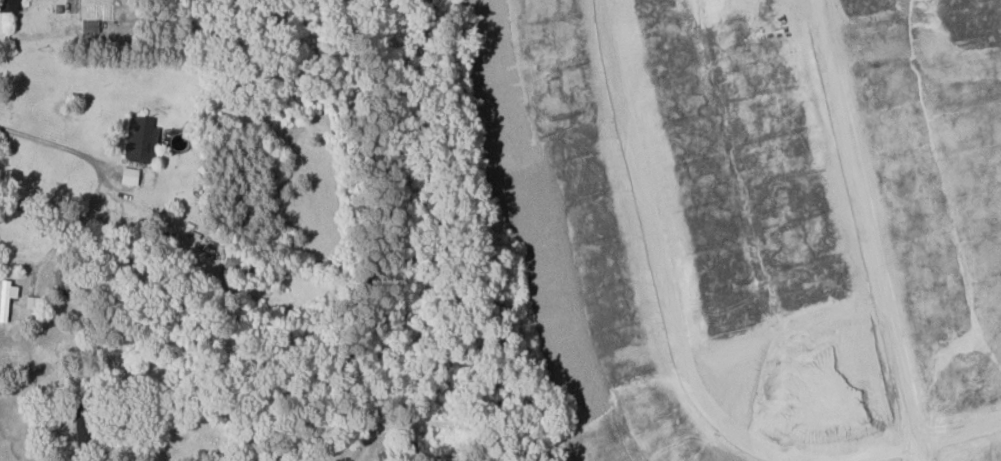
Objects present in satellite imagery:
building: (8, 5)
building: (141, 139)
building: (996, 172)
road: (98, 189)
road: (150, 209)
road: (869, 219)
road: (659, 256)
building: (6, 298)
road: (960, 426)
road: (921, 449)
road: (870, 450)
road: (86, 458)

